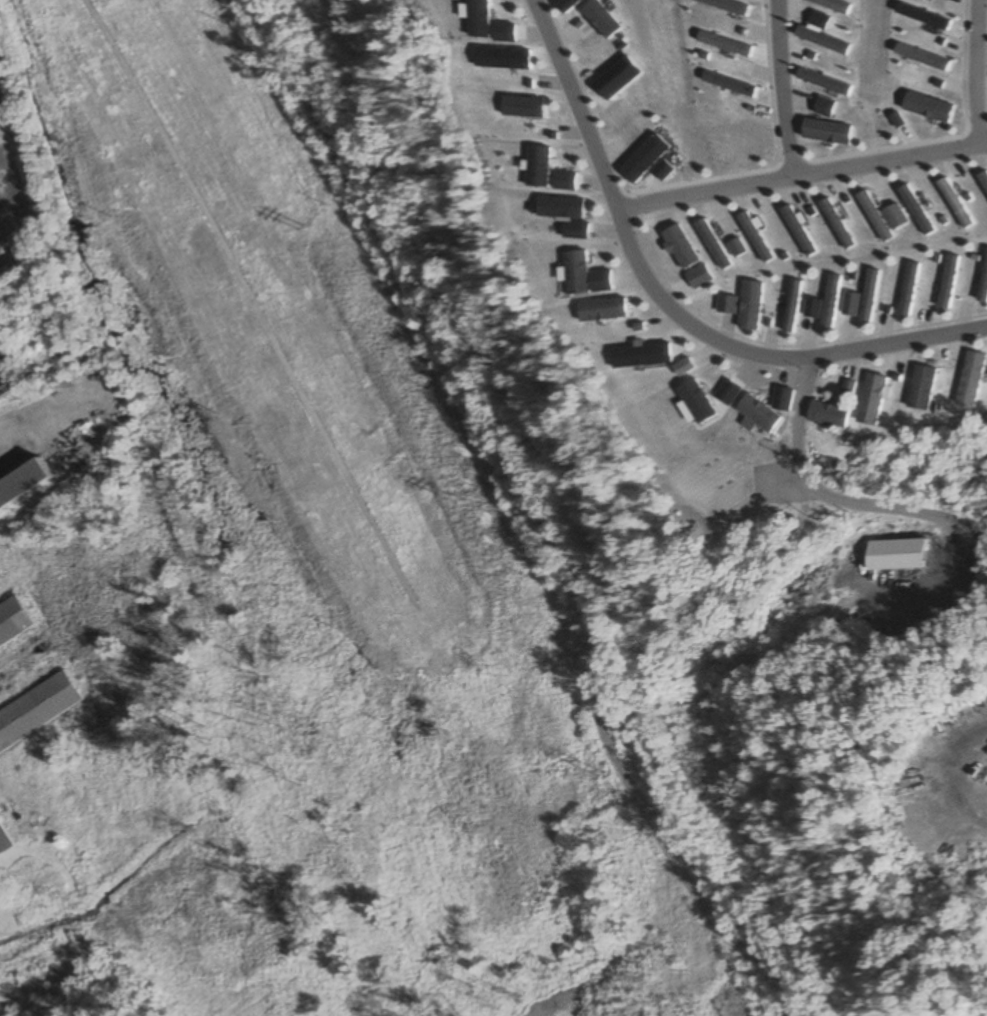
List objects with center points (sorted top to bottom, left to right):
road: (982, 72)
road: (784, 89)
road: (798, 176)
road: (662, 314)
building: (9, 376)
building: (24, 487)
road: (816, 490)
road: (536, 518)
building: (14, 623)
building: (38, 711)
building: (4, 842)

